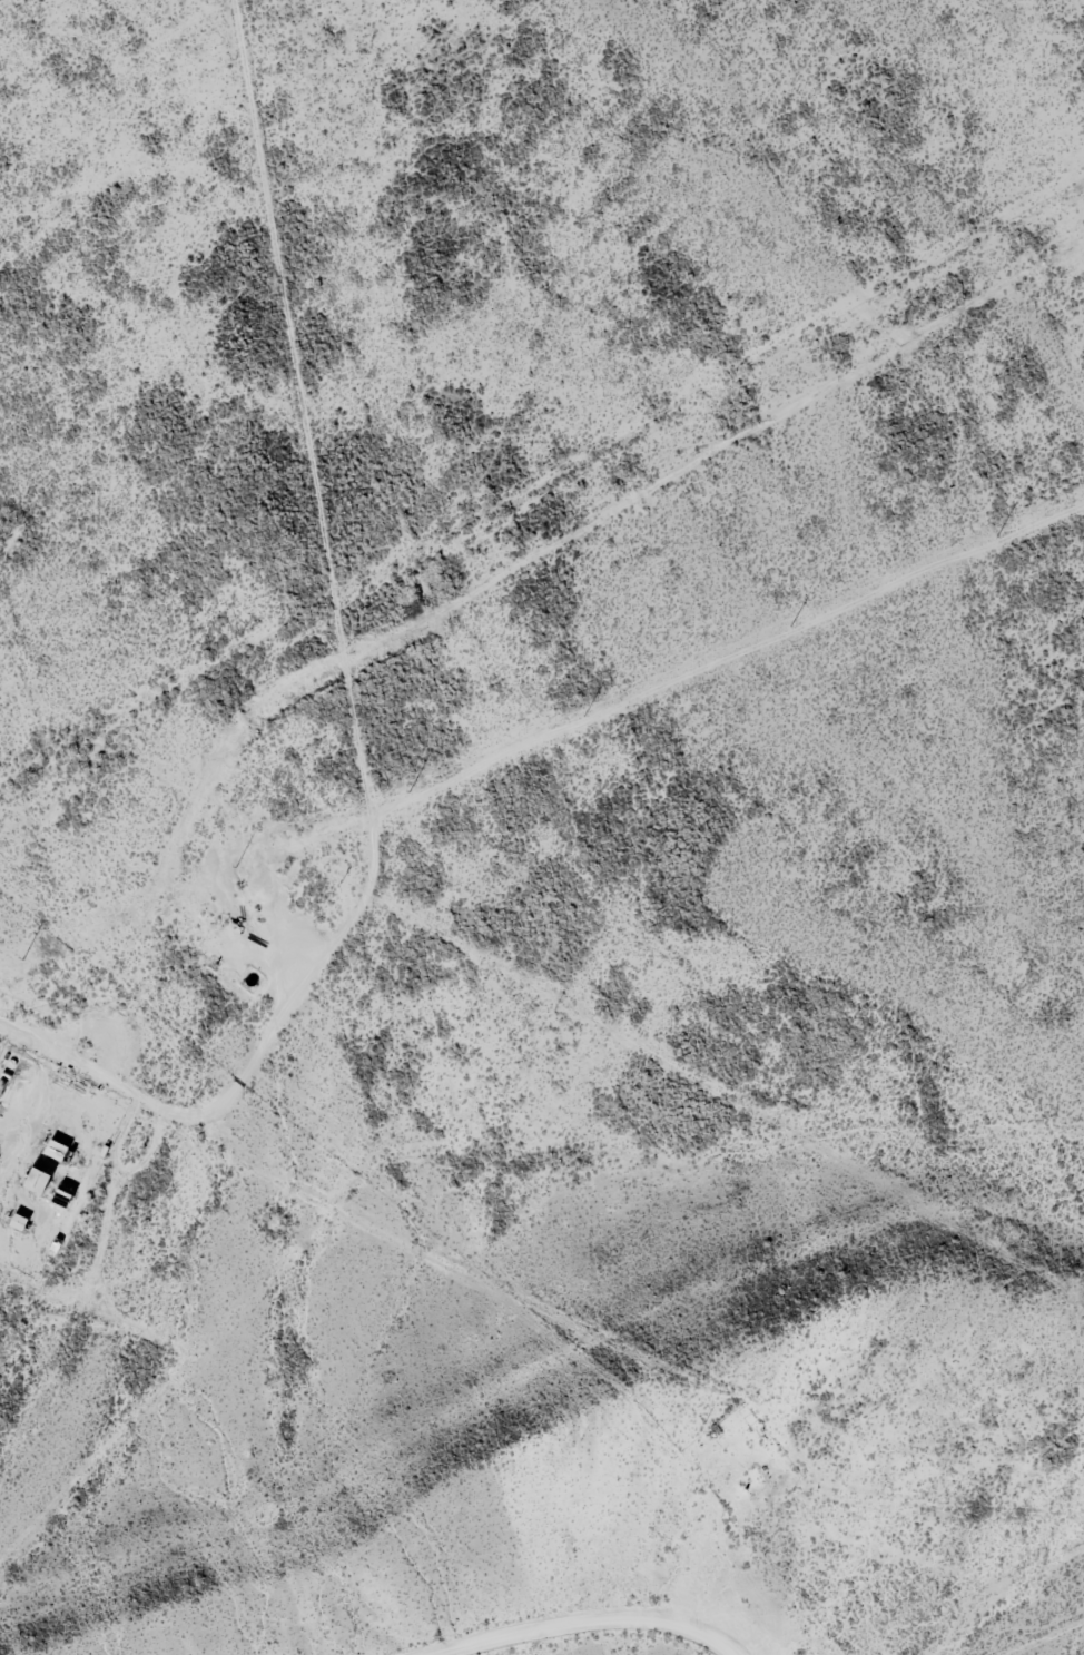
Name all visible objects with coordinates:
power tower: (996, 538)
power tower: (789, 627)
power tower: (582, 717)
power tower: (408, 792)
power tower: (235, 867)
power tower: (21, 961)
building: (57, 1151)
building: (39, 1181)
building: (19, 1223)
road: (649, 1649)

